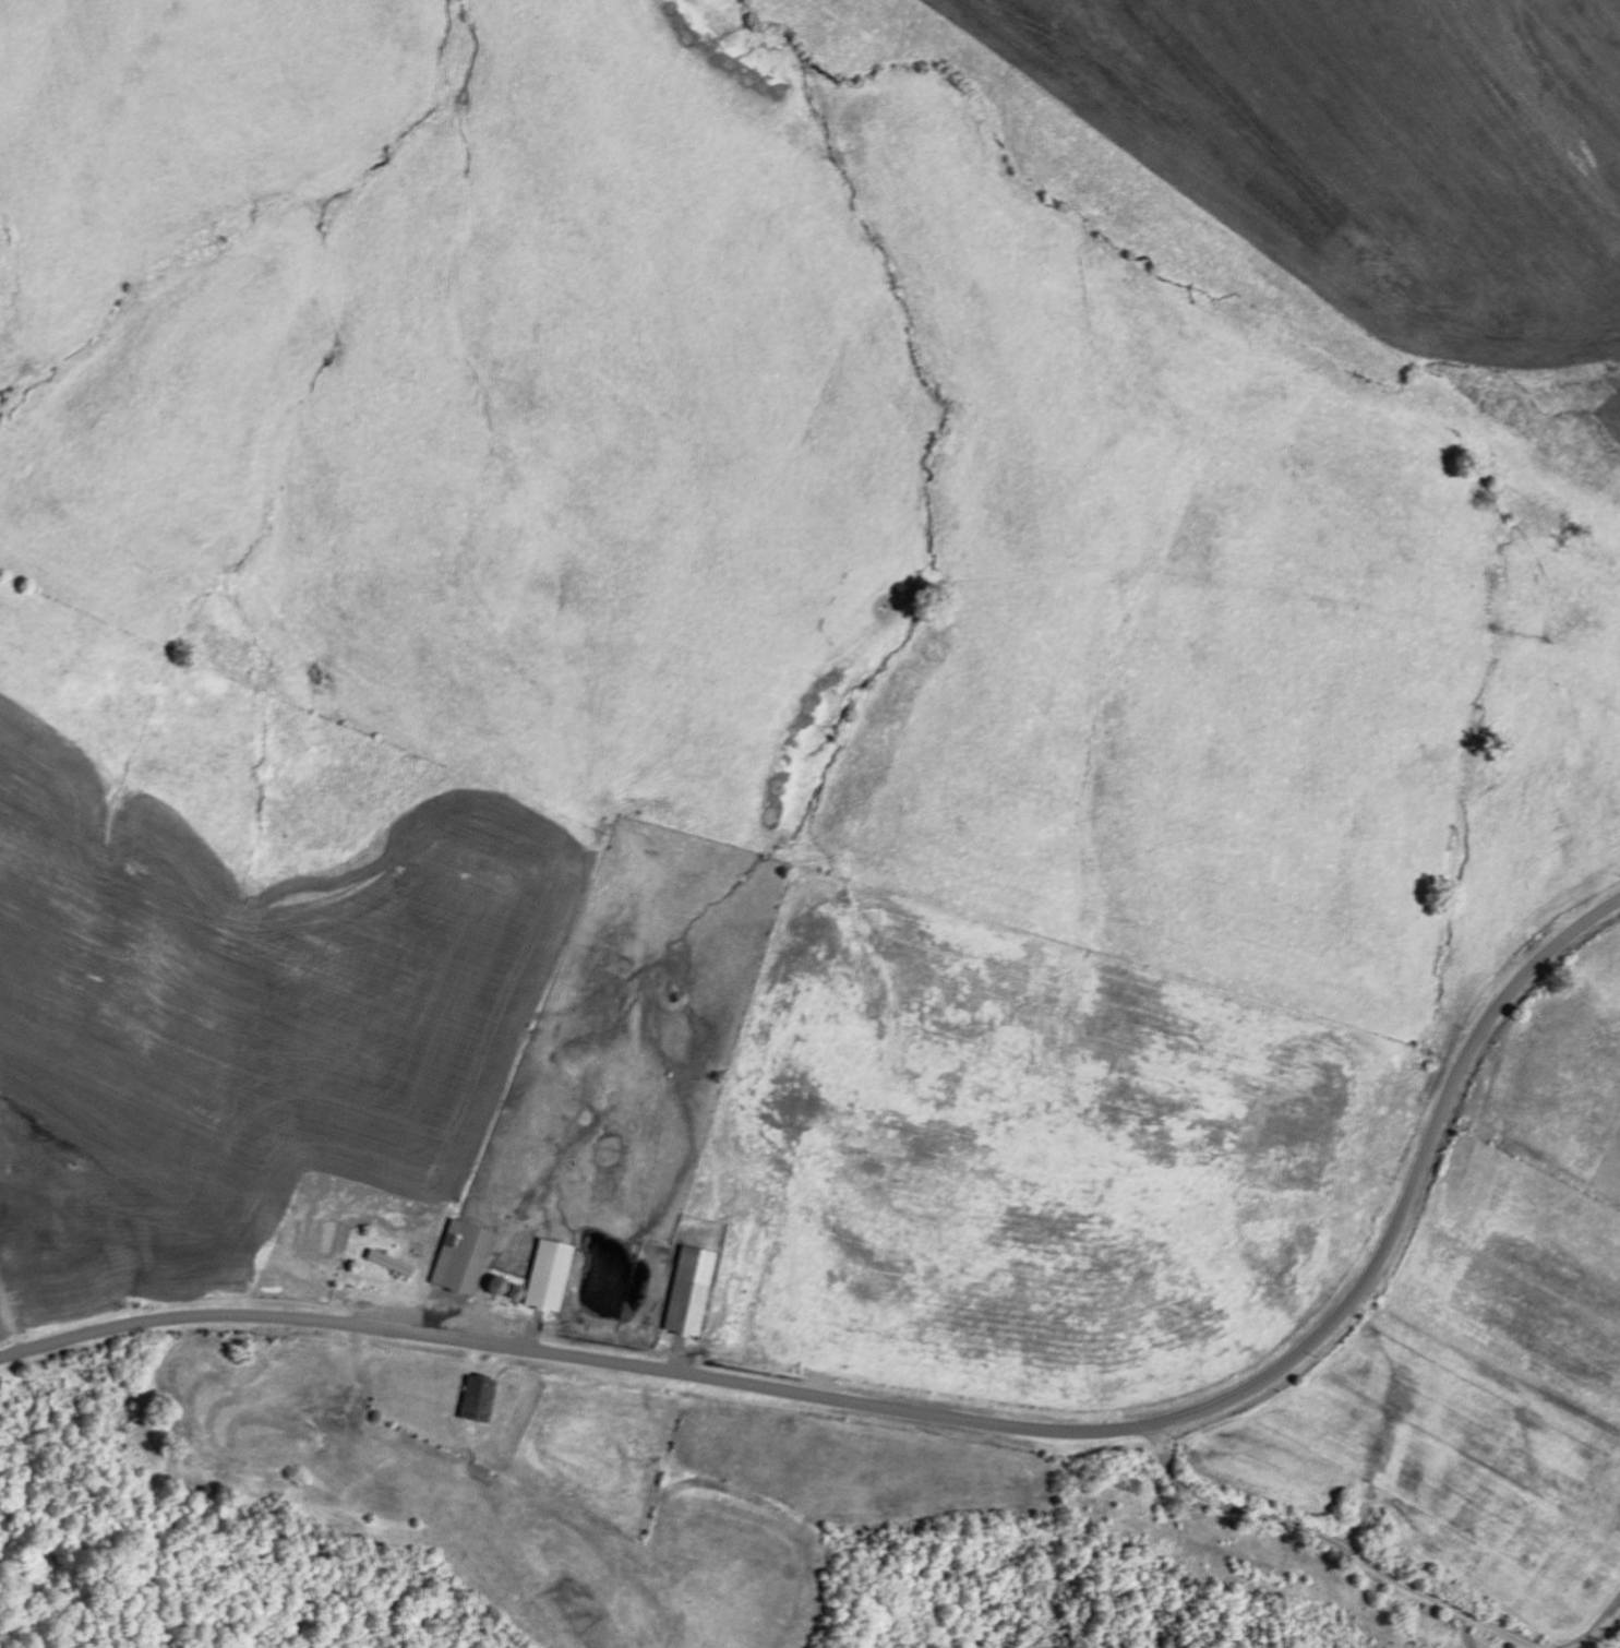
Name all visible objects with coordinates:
road: (84, 1237)
building: (460, 1258)
building: (386, 1262)
building: (547, 1276)
building: (691, 1291)
building: (476, 1398)
road: (937, 1417)
road: (1376, 1559)

